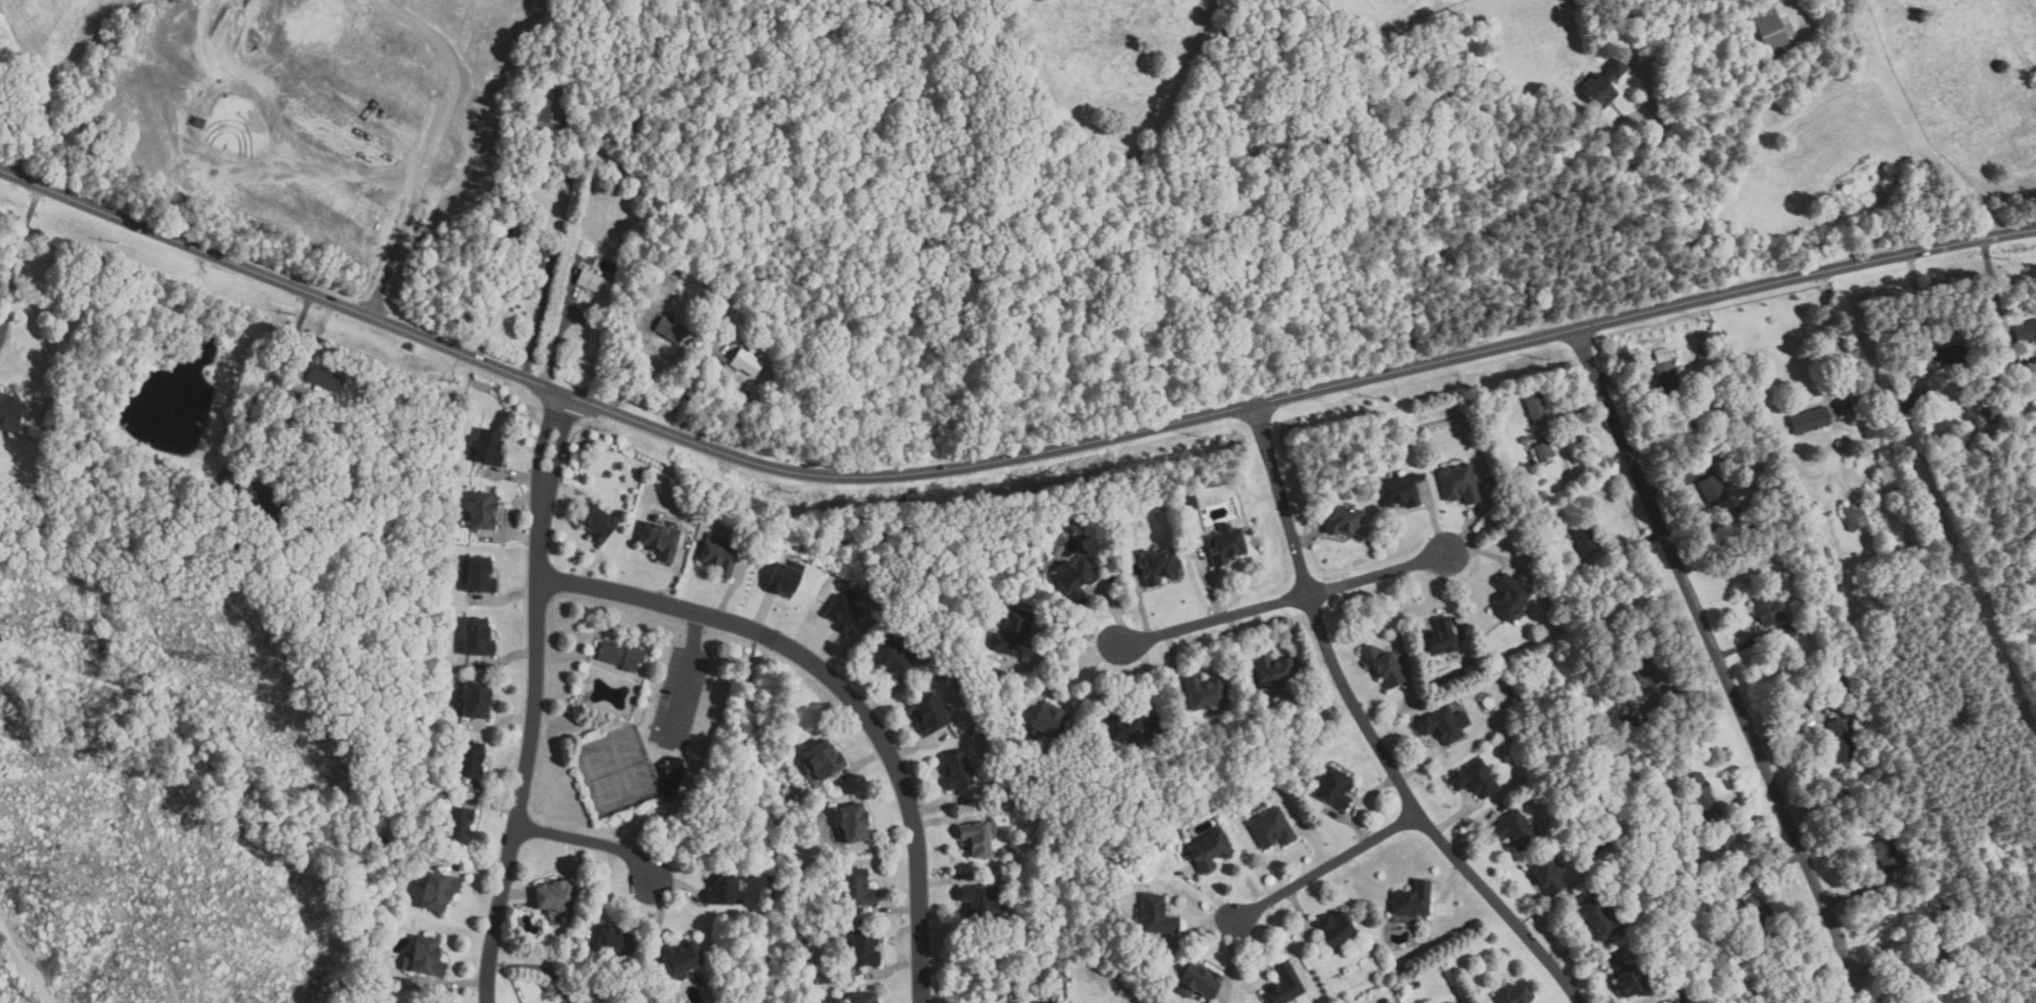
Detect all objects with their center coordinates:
building: (1772, 33)
building: (1604, 85)
building: (544, 109)
building: (514, 185)
road: (1514, 208)
building: (509, 218)
power tower: (115, 244)
building: (581, 248)
building: (534, 250)
road: (14, 258)
power tower: (2001, 260)
road: (527, 283)
building: (669, 283)
building: (596, 284)
road: (1995, 290)
power tower: (1842, 291)
road: (1919, 303)
power tower: (290, 314)
power tower: (1710, 323)
building: (670, 330)
building: (2025, 332)
road: (556, 339)
road: (1839, 339)
road: (316, 342)
building: (1660, 355)
building: (1953, 355)
road: (629, 357)
power tower: (1544, 360)
building: (746, 362)
road: (1623, 369)
building: (2022, 377)
building: (1665, 378)
road: (262, 379)
building: (324, 379)
power tower: (449, 380)
road: (697, 397)
power tower: (1374, 398)
building: (1909, 402)
building: (1536, 409)
building: (9, 412)
building: (1809, 420)
building: (1919, 425)
power tower: (603, 430)
power tower: (1204, 435)
building: (1525, 439)
building: (486, 447)
building: (1716, 450)
building: (1531, 451)
building: (1543, 451)
road: (1002, 462)
power tower: (1033, 479)
building: (1460, 483)
building: (1400, 492)
power tower: (793, 493)
building: (1715, 494)
building: (264, 500)
building: (221, 503)
building: (480, 509)
building: (1854, 516)
building: (596, 521)
building: (1342, 521)
building: (1583, 538)
building: (659, 541)
building: (1226, 545)
building: (718, 558)
building: (1161, 566)
building: (478, 575)
road: (1379, 576)
building: (784, 578)
building: (1075, 579)
building: (1509, 597)
building: (844, 611)
building: (1767, 611)
road: (1211, 621)
building: (1792, 631)
building: (1012, 632)
building: (476, 638)
building: (1440, 638)
road: (1750, 642)
road: (1713, 650)
building: (620, 655)
building: (890, 656)
building: (1383, 665)
building: (1275, 672)
building: (1644, 675)
road: (684, 678)
road: (1681, 686)
building: (1840, 687)
building: (1205, 692)
road: (842, 693)
parking lot: (679, 697)
road: (535, 698)
building: (474, 699)
building: (930, 714)
building: (1049, 720)
building: (1631, 724)
building: (1442, 725)
building: (1125, 729)
road: (1793, 729)
road: (1367, 730)
building: (1841, 739)
building: (468, 759)
building: (822, 760)
park: (631, 766)
building: (957, 770)
park: (603, 777)
building: (1474, 779)
building: (1334, 787)
road: (1746, 790)
building: (1702, 796)
building: (852, 823)
building: (456, 824)
building: (1272, 829)
building: (1516, 830)
building: (976, 839)
road: (596, 841)
building: (1209, 850)
building: (1888, 855)
road: (1324, 870)
road: (1766, 873)
building: (1547, 877)
building: (723, 889)
building: (857, 889)
road: (1860, 890)
building: (437, 891)
building: (553, 897)
building: (1412, 900)
building: (979, 901)
building: (1758, 912)
building: (1945, 912)
building: (1156, 915)
building: (1596, 918)
building: (1336, 930)
building: (613, 942)
building: (805, 947)
building: (863, 949)
road: (1886, 954)
building: (422, 957)
building: (1935, 958)
building: (680, 959)
building: (1627, 979)
building: (1168, 982)
building: (1198, 982)
building: (1284, 985)
road: (1856, 987)
building: (1515, 994)
building: (863, 998)
building: (1679, 998)
building: (1449, 1002)
building: (1794, 1002)

